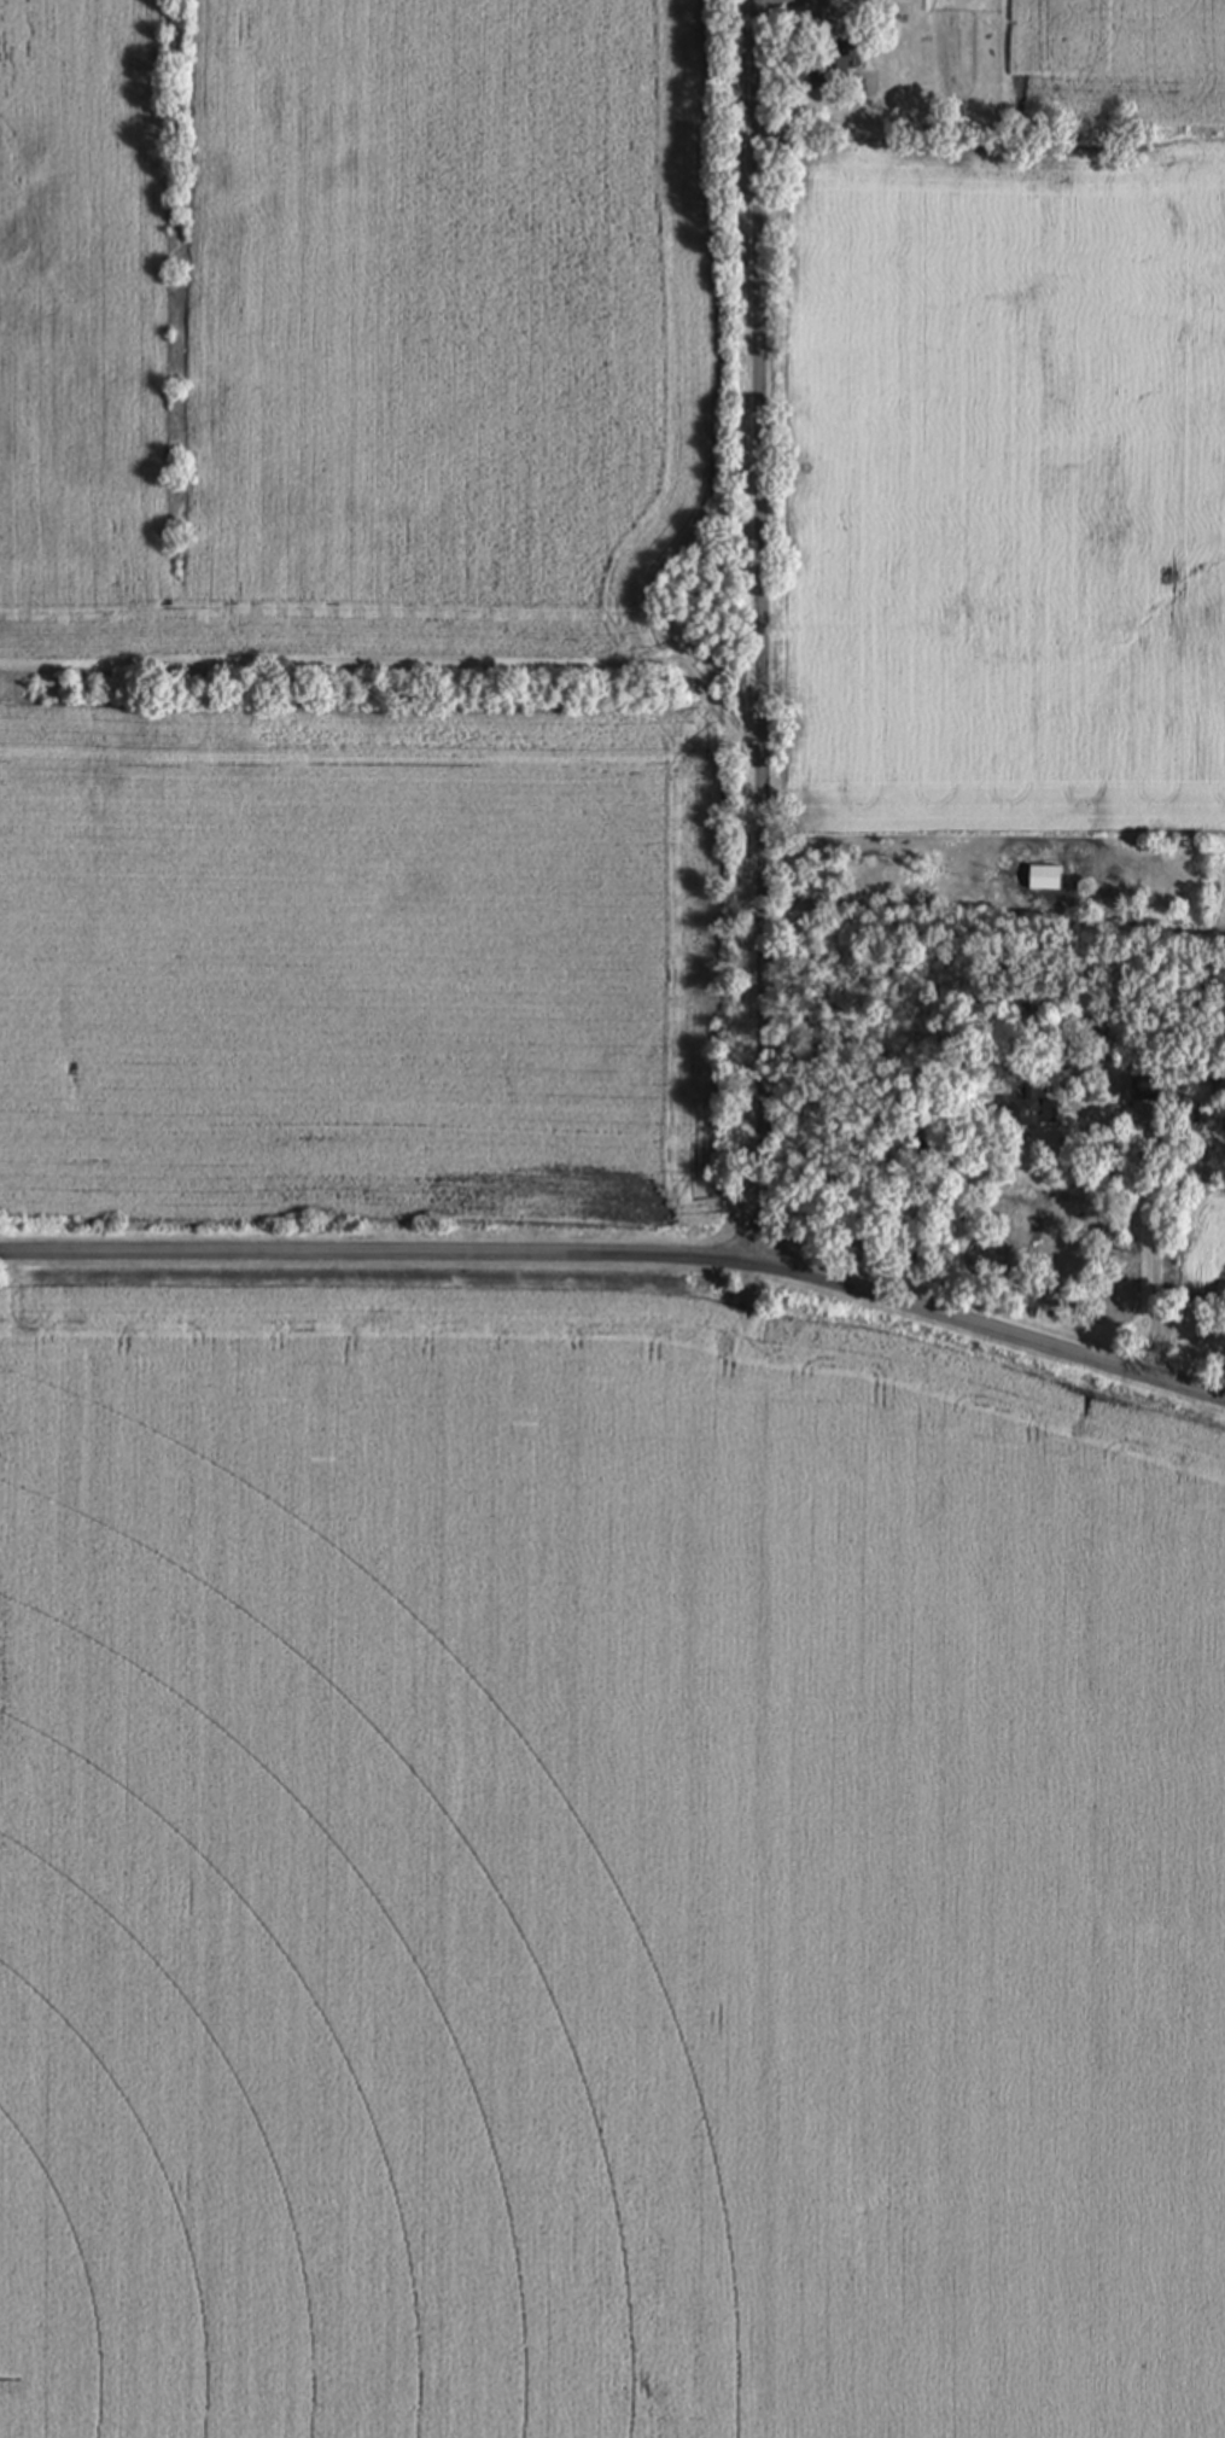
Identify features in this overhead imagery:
road: (778, 4)
building: (841, 63)
road: (758, 628)
building: (1154, 1090)
building: (1033, 1108)
road: (1151, 1244)
road: (623, 1256)

